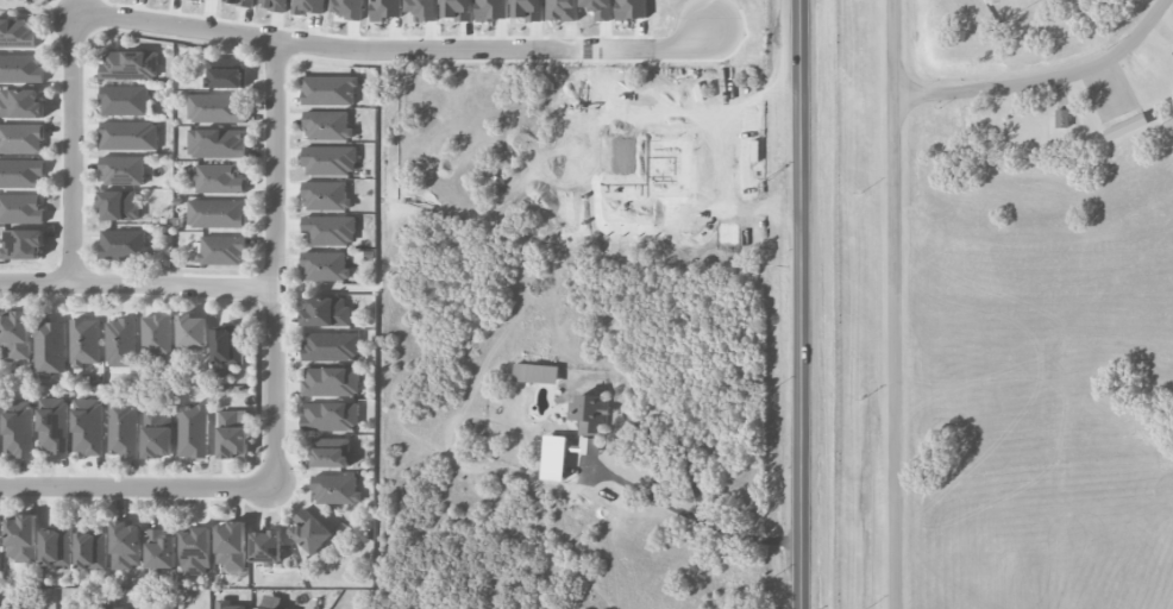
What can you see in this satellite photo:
building: (197, 0)
building: (275, 4)
building: (308, 6)
building: (347, 8)
building: (387, 8)
building: (424, 8)
building: (527, 8)
building: (600, 8)
building: (631, 8)
building: (457, 10)
building: (491, 10)
building: (562, 10)
building: (17, 32)
road: (396, 50)
building: (128, 64)
building: (20, 68)
building: (226, 73)
road: (1045, 80)
building: (328, 89)
building: (124, 100)
building: (21, 102)
building: (217, 107)
building: (1061, 118)
building: (327, 125)
building: (1125, 126)
building: (127, 134)
building: (21, 138)
building: (218, 143)
road: (73, 149)
building: (330, 159)
building: (121, 169)
building: (20, 172)
building: (219, 178)
building: (325, 195)
building: (118, 205)
building: (20, 208)
building: (218, 213)
building: (328, 230)
building: (123, 243)
building: (21, 244)
building: (220, 250)
road: (275, 264)
building: (325, 265)
road: (137, 284)
road: (801, 303)
road: (902, 304)
building: (325, 310)
building: (192, 331)
building: (14, 334)
building: (156, 335)
building: (84, 340)
building: (120, 340)
building: (50, 345)
building: (228, 345)
building: (331, 345)
building: (535, 372)
building: (330, 381)
building: (589, 413)
building: (331, 416)
building: (52, 425)
building: (88, 425)
building: (18, 428)
building: (123, 428)
building: (193, 429)
building: (157, 433)
building: (232, 433)
building: (332, 452)
road: (137, 486)
building: (334, 489)
road: (694, 515)
building: (308, 530)
building: (21, 538)
building: (231, 544)
building: (126, 545)
building: (266, 545)
building: (0, 547)
building: (55, 548)
building: (161, 550)
building: (195, 551)
building: (90, 552)
building: (227, 604)
building: (109, 605)
building: (271, 607)

